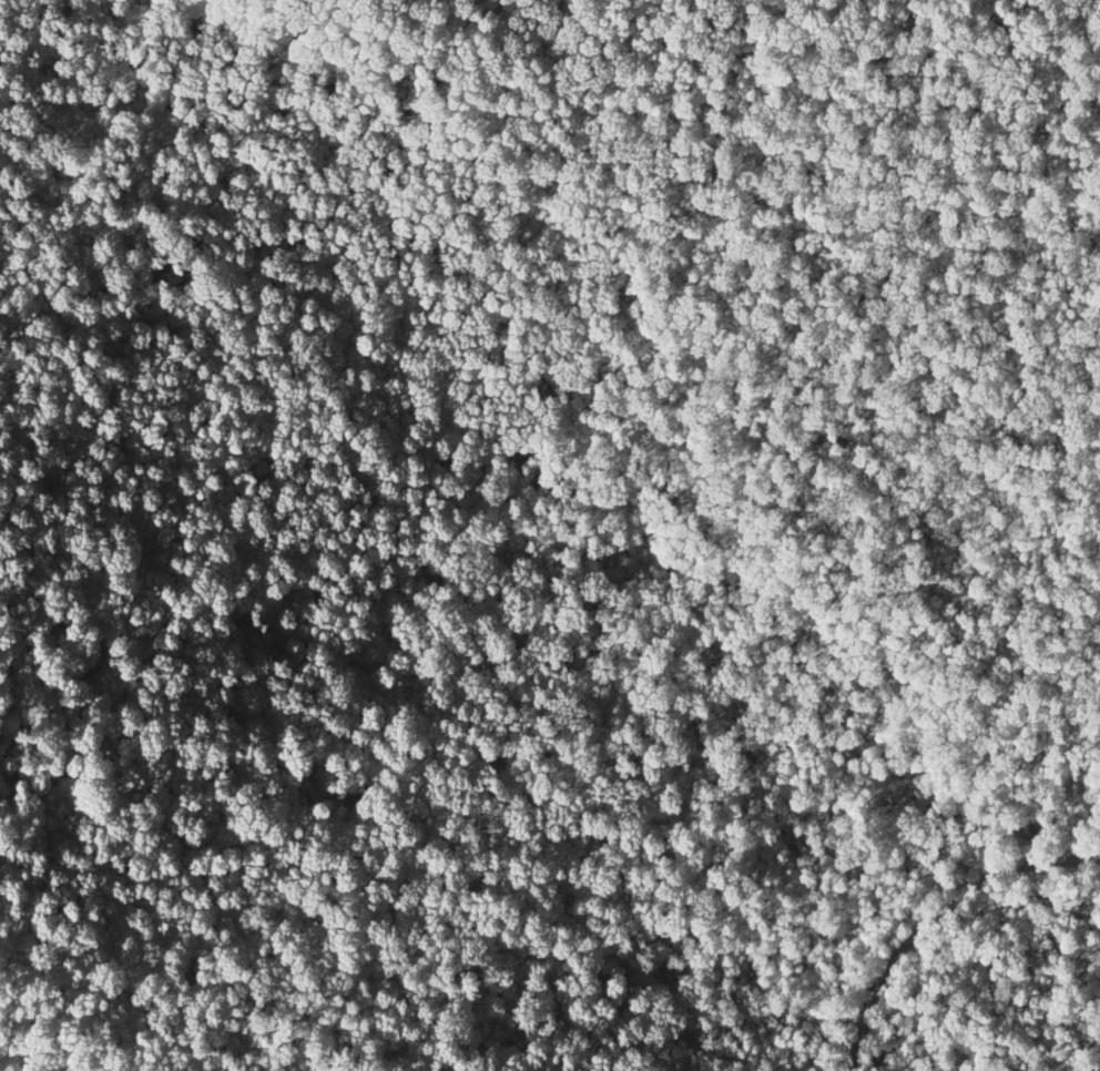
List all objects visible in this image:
road: (936, 917)

